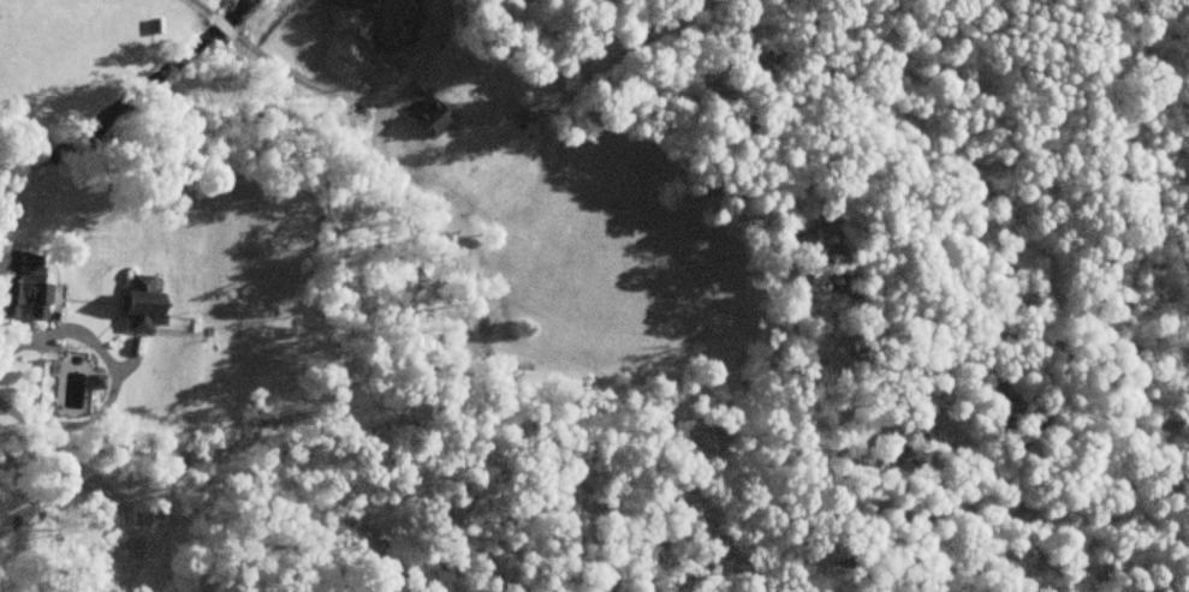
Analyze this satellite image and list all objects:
building: (388, 17)
road: (257, 88)
building: (429, 120)
building: (22, 286)
building: (141, 303)
road: (111, 377)
building: (141, 521)

